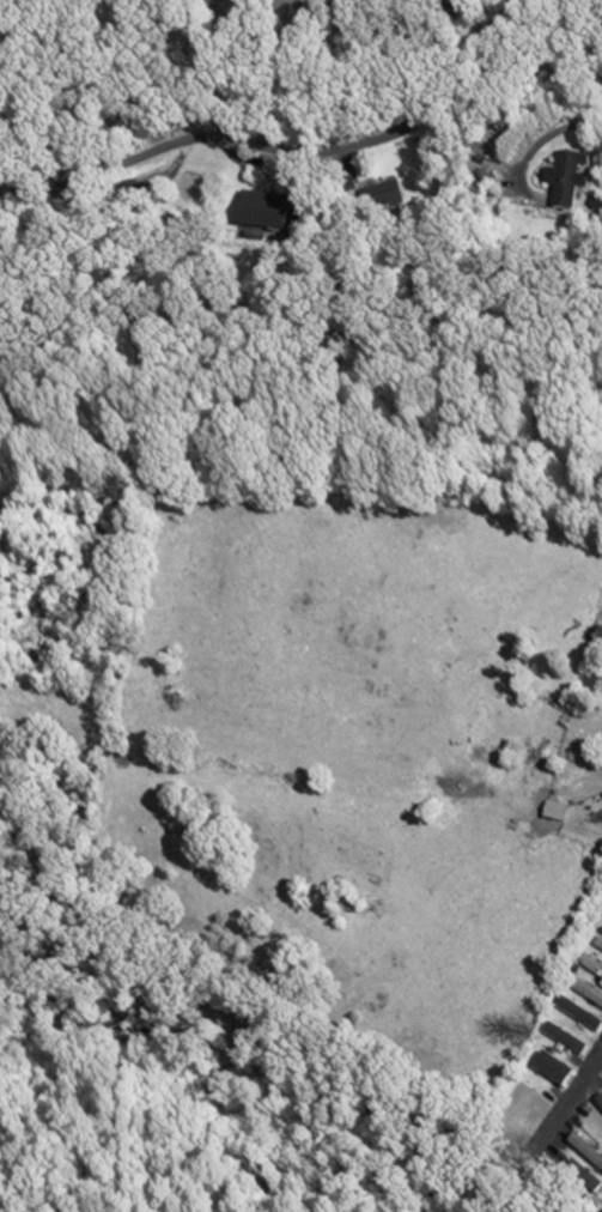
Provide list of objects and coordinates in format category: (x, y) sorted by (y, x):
building: (299, 11)
road: (267, 146)
building: (570, 180)
building: (130, 196)
building: (382, 198)
building: (264, 212)
building: (595, 650)
building: (590, 686)
building: (557, 813)
road: (585, 834)
building: (592, 968)
building: (588, 995)
building: (580, 1017)
road: (578, 1090)
building: (527, 1103)
building: (522, 1117)

